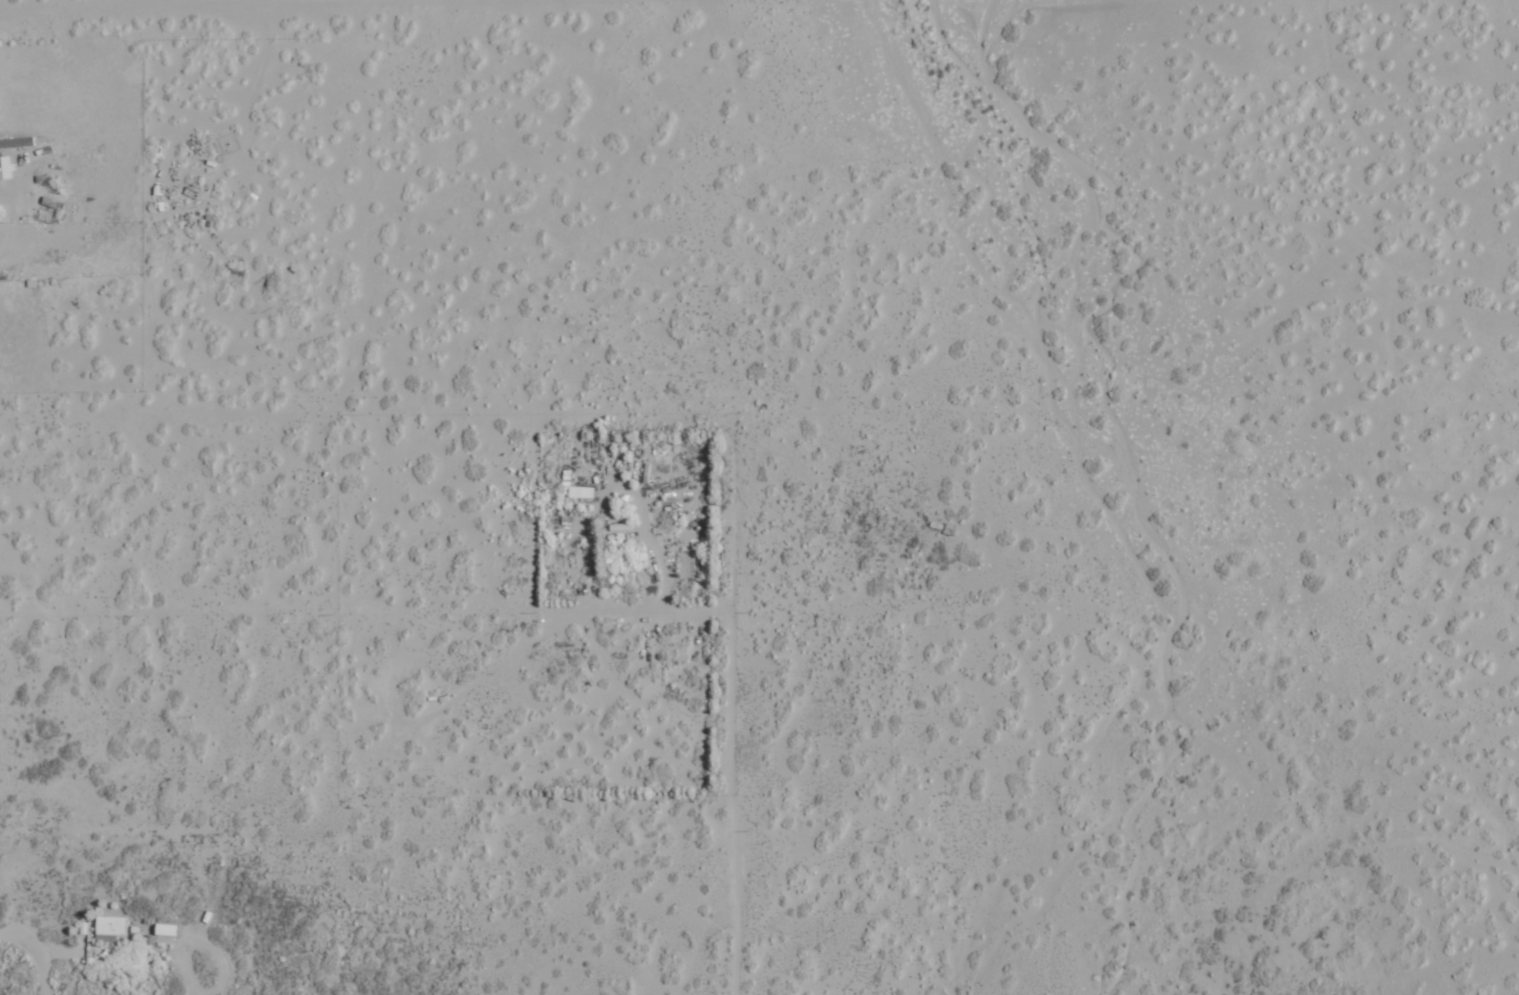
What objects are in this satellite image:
road: (151, 6)
road: (341, 394)
building: (581, 492)
road: (367, 609)
road: (733, 705)
road: (207, 915)
road: (35, 954)

